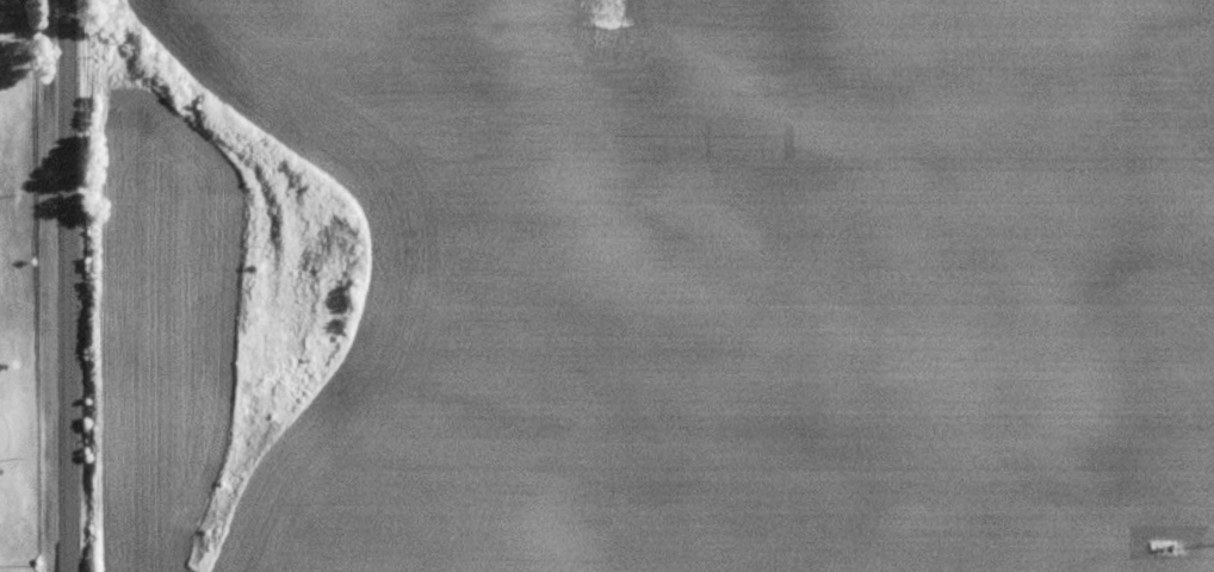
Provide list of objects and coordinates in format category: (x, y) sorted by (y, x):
road: (66, 285)
crop: (654, 285)
park: (23, 294)

